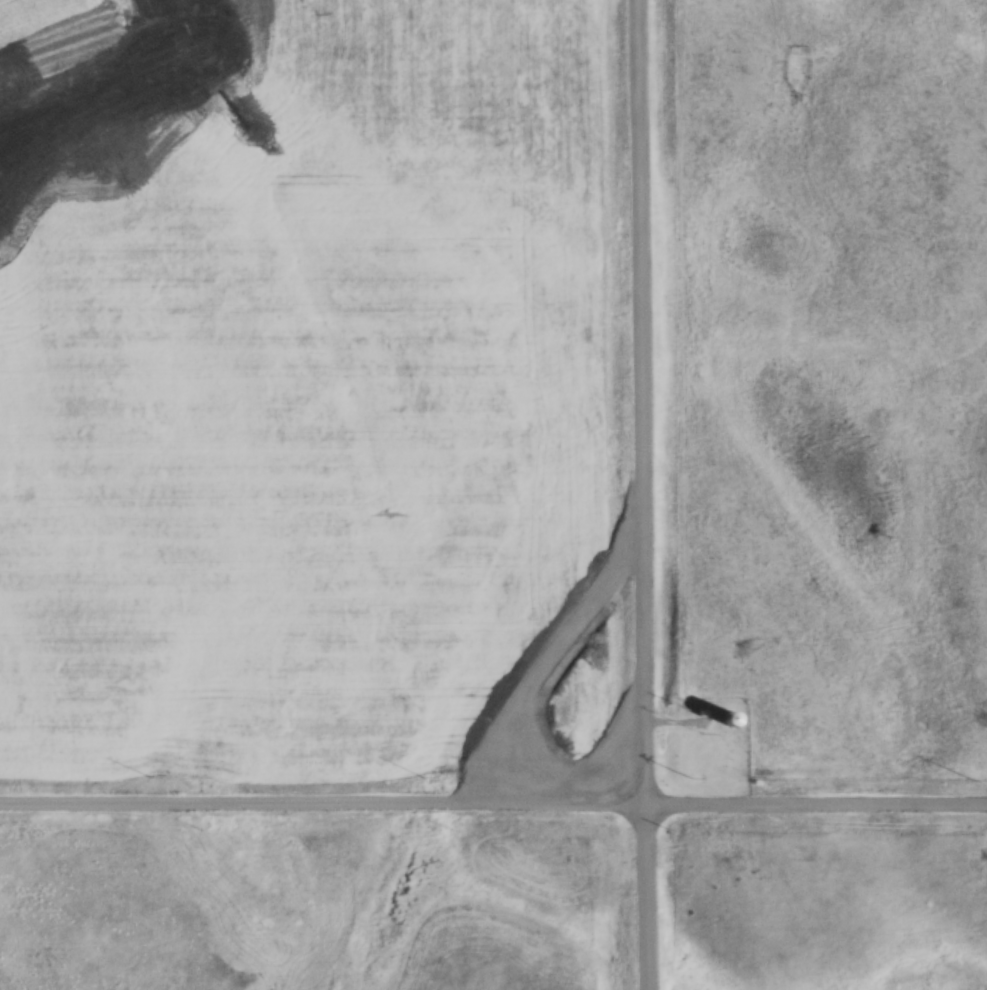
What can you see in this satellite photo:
road: (642, 495)
road: (493, 798)

